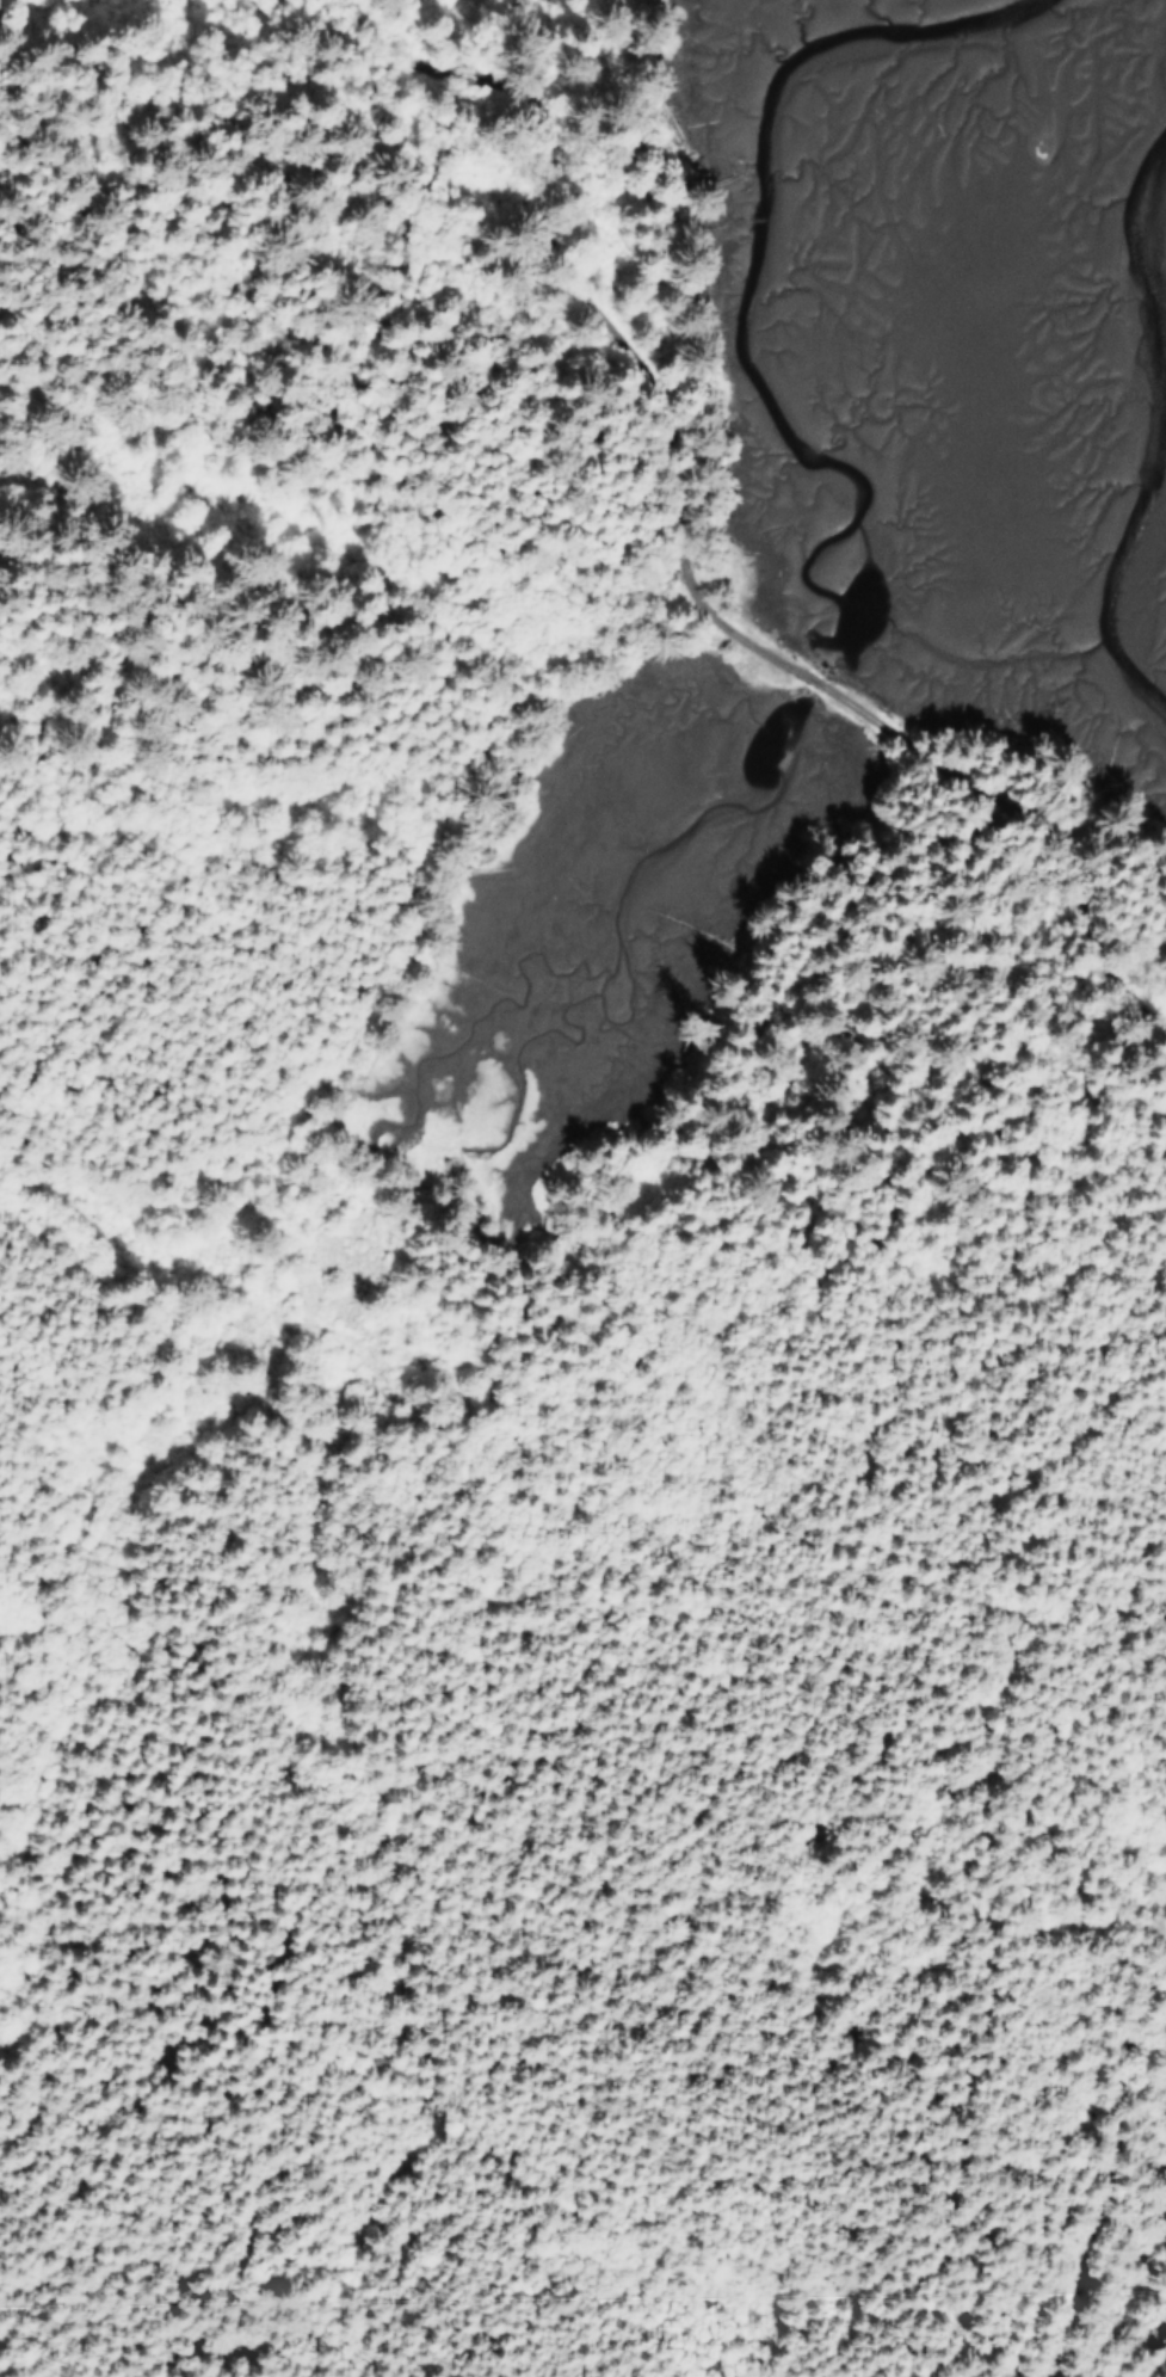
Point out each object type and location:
park: (130, 226)
road: (254, 330)
road: (679, 553)
road: (1036, 1529)
road: (1104, 2175)

